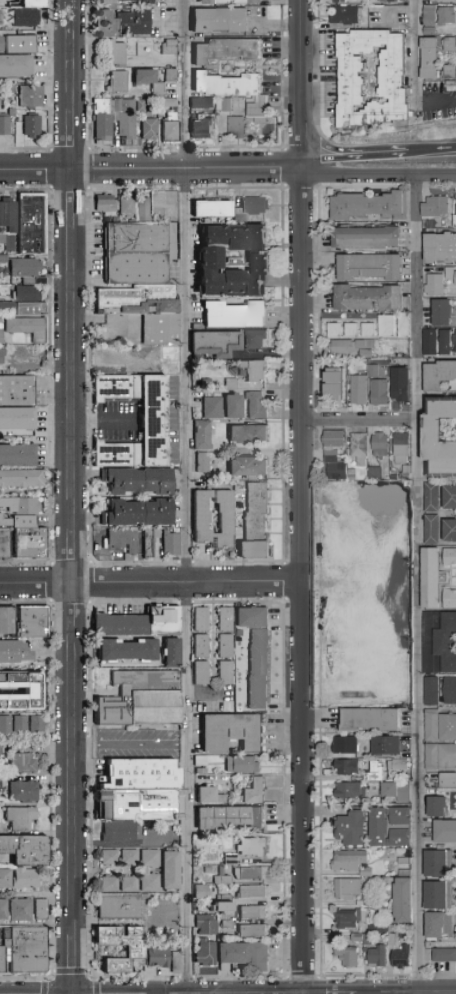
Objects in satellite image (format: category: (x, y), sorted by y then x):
building: (446, 1)
building: (106, 2)
building: (233, 2)
building: (343, 2)
building: (390, 2)
building: (35, 4)
building: (347, 16)
building: (431, 16)
building: (447, 17)
building: (27, 18)
building: (222, 21)
building: (122, 24)
building: (455, 29)
building: (430, 32)
building: (2, 44)
building: (23, 45)
building: (450, 46)
building: (171, 48)
building: (229, 51)
road: (416, 51)
building: (118, 53)
road: (72, 54)
building: (431, 59)
building: (16, 67)
road: (317, 70)
building: (450, 73)
building: (172, 76)
building: (151, 82)
building: (119, 83)
building: (354, 83)
building: (452, 84)
road: (187, 85)
road: (304, 85)
building: (11, 90)
building: (236, 92)
building: (33, 97)
road: (436, 102)
building: (1, 103)
building: (169, 104)
building: (204, 104)
building: (228, 106)
building: (143, 107)
building: (14, 111)
building: (127, 121)
building: (105, 122)
building: (6, 125)
building: (33, 126)
building: (203, 128)
building: (238, 128)
building: (150, 130)
building: (172, 133)
road: (73, 139)
road: (328, 147)
road: (431, 149)
road: (383, 152)
road: (332, 162)
road: (37, 170)
road: (189, 170)
road: (380, 170)
road: (74, 199)
building: (434, 205)
building: (106, 206)
building: (126, 206)
building: (369, 206)
building: (251, 208)
building: (143, 209)
building: (212, 209)
building: (7, 214)
building: (454, 220)
building: (33, 224)
building: (136, 238)
building: (366, 239)
building: (439, 247)
building: (234, 260)
building: (369, 267)
building: (136, 268)
building: (25, 270)
building: (450, 274)
building: (433, 284)
building: (369, 298)
building: (22, 300)
building: (137, 300)
building: (440, 312)
building: (233, 315)
building: (403, 325)
building: (387, 326)
building: (24, 328)
building: (160, 329)
building: (334, 330)
building: (351, 331)
building: (368, 331)
building: (255, 340)
building: (429, 341)
building: (444, 341)
building: (455, 341)
building: (214, 343)
building: (346, 346)
building: (365, 354)
building: (1, 355)
building: (110, 356)
building: (169, 360)
building: (253, 370)
building: (372, 371)
building: (437, 374)
road: (74, 378)
building: (229, 384)
building: (335, 384)
building: (400, 385)
building: (116, 386)
building: (17, 388)
building: (358, 389)
building: (379, 393)
building: (255, 405)
building: (232, 406)
building: (212, 408)
road: (105, 417)
building: (16, 419)
building: (153, 420)
road: (363, 420)
building: (247, 434)
building: (202, 435)
building: (440, 437)
building: (333, 440)
building: (379, 445)
building: (359, 448)
building: (401, 448)
building: (331, 453)
building: (16, 454)
building: (116, 454)
building: (331, 459)
building: (202, 462)
building: (248, 467)
building: (336, 472)
building: (374, 473)
building: (352, 475)
building: (393, 476)
building: (21, 477)
building: (405, 477)
building: (137, 480)
building: (449, 496)
building: (430, 497)
building: (352, 499)
building: (137, 513)
building: (199, 521)
building: (398, 522)
building: (254, 523)
building: (430, 528)
building: (449, 529)
building: (123, 540)
building: (149, 540)
building: (6, 542)
building: (33, 543)
building: (170, 544)
building: (352, 544)
building: (449, 555)
road: (75, 557)
building: (429, 576)
road: (188, 581)
road: (306, 581)
road: (420, 581)
road: (153, 584)
building: (365, 592)
building: (398, 592)
building: (449, 597)
road: (75, 606)
building: (6, 618)
building: (251, 618)
building: (200, 619)
building: (225, 619)
building: (32, 620)
building: (139, 623)
building: (238, 633)
building: (352, 642)
building: (201, 646)
building: (225, 646)
building: (14, 650)
building: (127, 651)
building: (172, 653)
building: (398, 664)
building: (258, 669)
building: (201, 673)
building: (225, 673)
building: (24, 681)
building: (353, 687)
building: (429, 689)
building: (449, 689)
building: (140, 697)
building: (371, 720)
building: (5, 722)
building: (35, 722)
building: (18, 723)
building: (439, 724)
building: (231, 732)
building: (155, 740)
road: (132, 744)
building: (344, 745)
building: (389, 745)
building: (439, 755)
building: (200, 760)
building: (21, 761)
building: (241, 764)
building: (396, 764)
building: (346, 767)
building: (145, 771)
building: (201, 771)
building: (377, 773)
building: (368, 777)
building: (447, 778)
road: (76, 781)
building: (21, 790)
building: (349, 790)
building: (395, 791)
building: (254, 792)
building: (209, 796)
building: (146, 803)
building: (435, 805)
building: (18, 816)
building: (400, 816)
building: (228, 817)
building: (378, 827)
building: (352, 828)
building: (117, 829)
building: (444, 829)
building: (400, 837)
building: (252, 846)
building: (26, 848)
building: (108, 855)
building: (129, 855)
building: (149, 856)
building: (230, 859)
building: (348, 860)
building: (404, 861)
building: (436, 861)
building: (168, 868)
building: (208, 870)
building: (366, 873)
building: (404, 873)
building: (254, 874)
building: (3, 876)
building: (24, 877)
building: (196, 879)
building: (225, 880)
building: (149, 881)
building: (108, 882)
building: (128, 882)
building: (347, 888)
building: (201, 891)
building: (254, 891)
building: (436, 894)
building: (224, 898)
building: (402, 900)
building: (371, 901)
building: (359, 903)
building: (122, 906)
building: (224, 906)
building: (3, 908)
building: (19, 908)
building: (39, 908)
road: (170, 911)
building: (253, 912)
building: (349, 919)
building: (437, 923)
building: (227, 924)
building: (205, 925)
building: (377, 929)
building: (252, 931)
building: (357, 938)
building: (366, 940)
building: (391, 940)
building: (27, 948)
building: (137, 951)
building: (205, 952)
building: (233, 953)
building: (443, 954)
building: (159, 955)
building: (347, 956)
building: (1, 957)
building: (259, 957)
building: (377, 957)
building: (401, 957)
road: (76, 964)
building: (175, 967)

